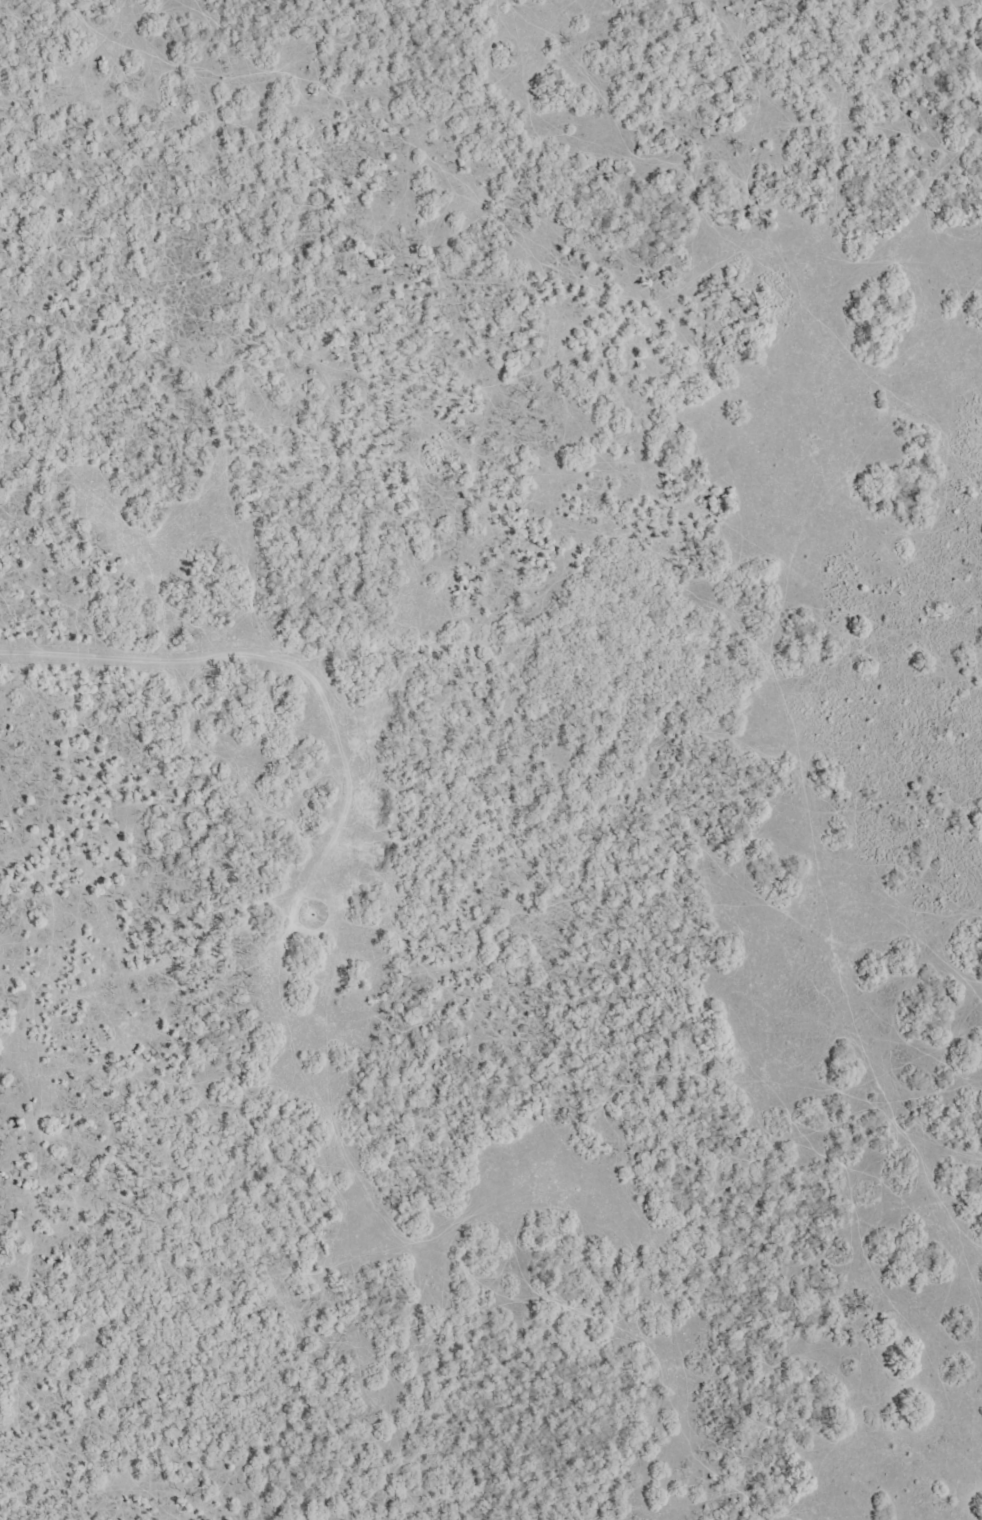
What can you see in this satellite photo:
road: (421, 1048)

